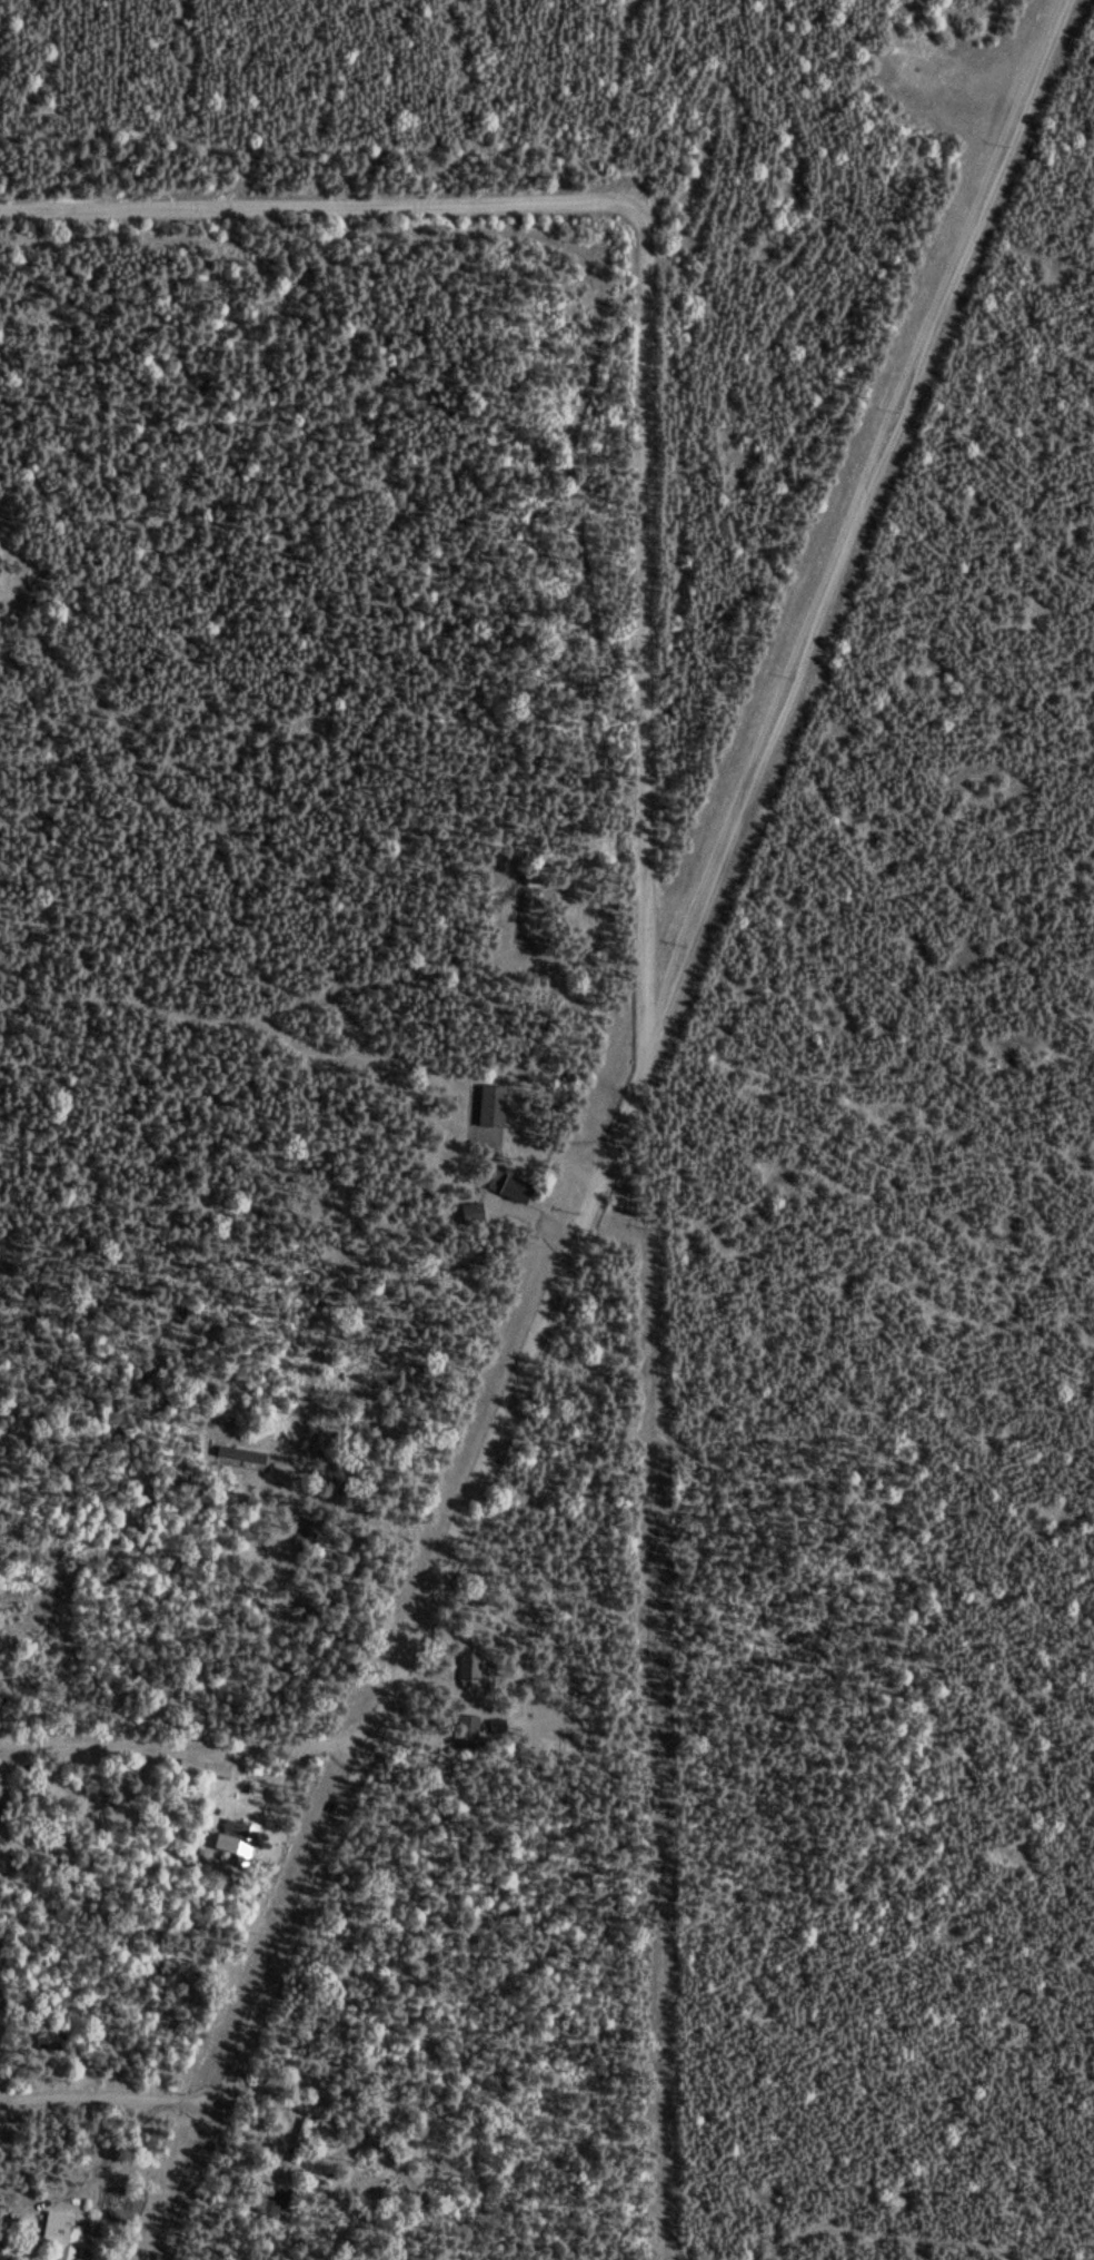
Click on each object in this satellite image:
road: (647, 306)
building: (528, 908)
road: (381, 981)
road: (220, 1013)
building: (488, 1108)
road: (616, 1129)
building: (507, 1188)
building: (468, 1215)
building: (239, 1455)
building: (302, 1536)
building: (466, 1669)
building: (464, 1734)
road: (181, 1746)
building: (228, 1843)
building: (6, 1863)
building: (52, 2041)
road: (108, 2098)
building: (297, 2143)
building: (268, 2203)
building: (62, 2233)
road: (841, 2238)

